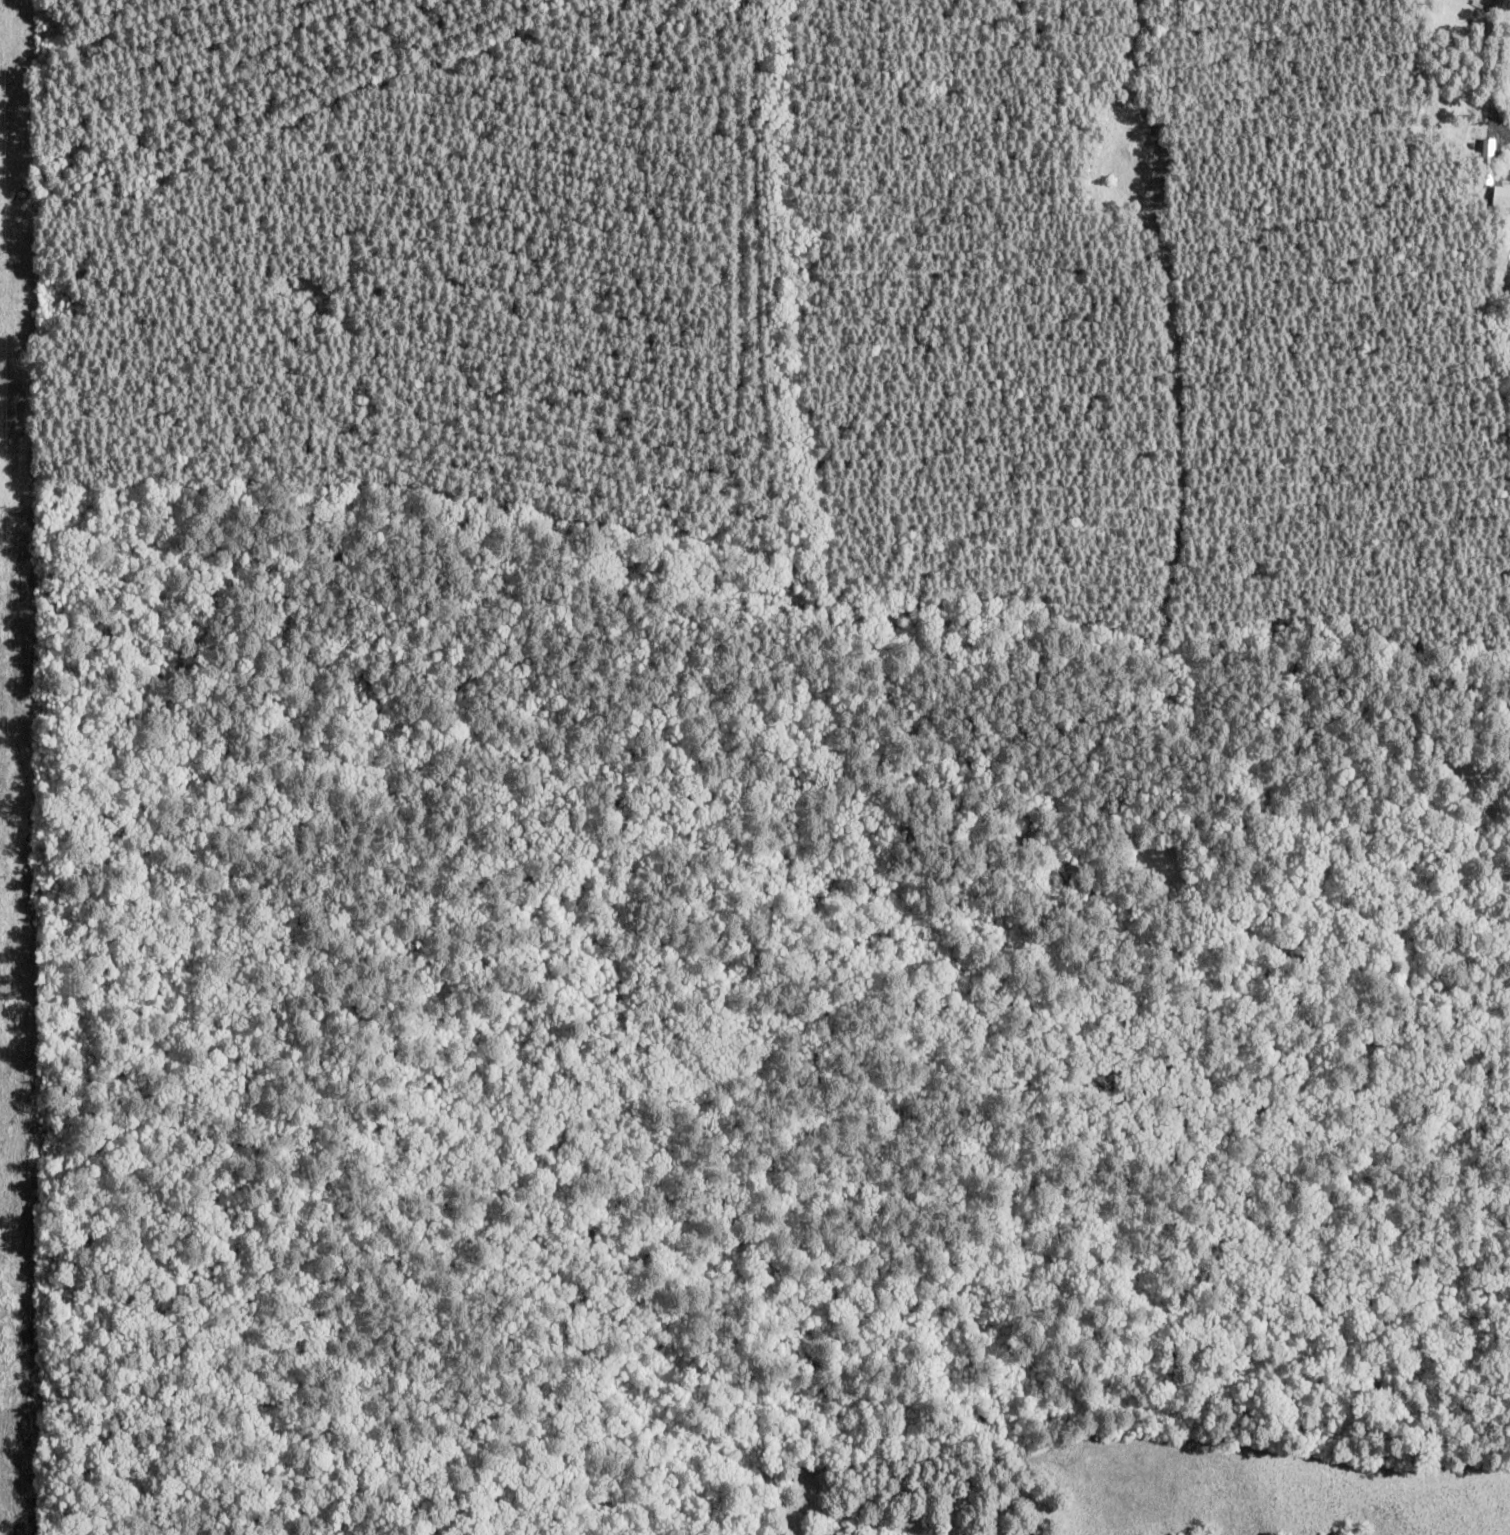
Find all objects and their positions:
building: (1506, 167)

